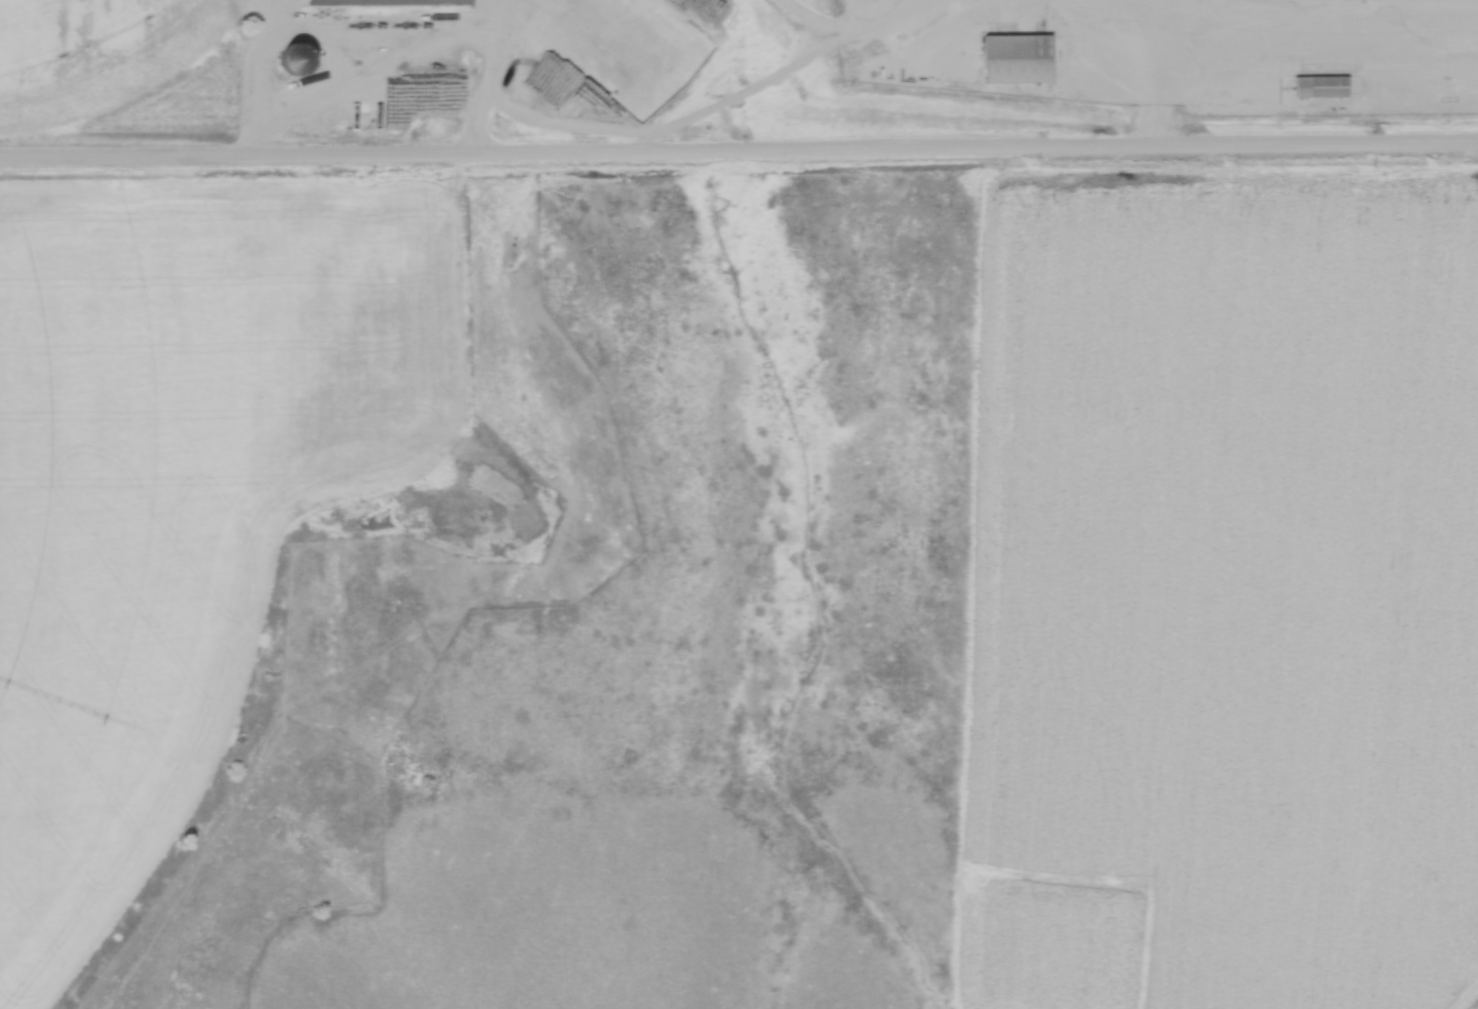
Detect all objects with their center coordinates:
building: (385, 2)
road: (1275, 35)
building: (1018, 58)
building: (297, 60)
building: (1322, 87)
road: (1157, 94)
road: (489, 95)
road: (712, 113)
road: (739, 155)

